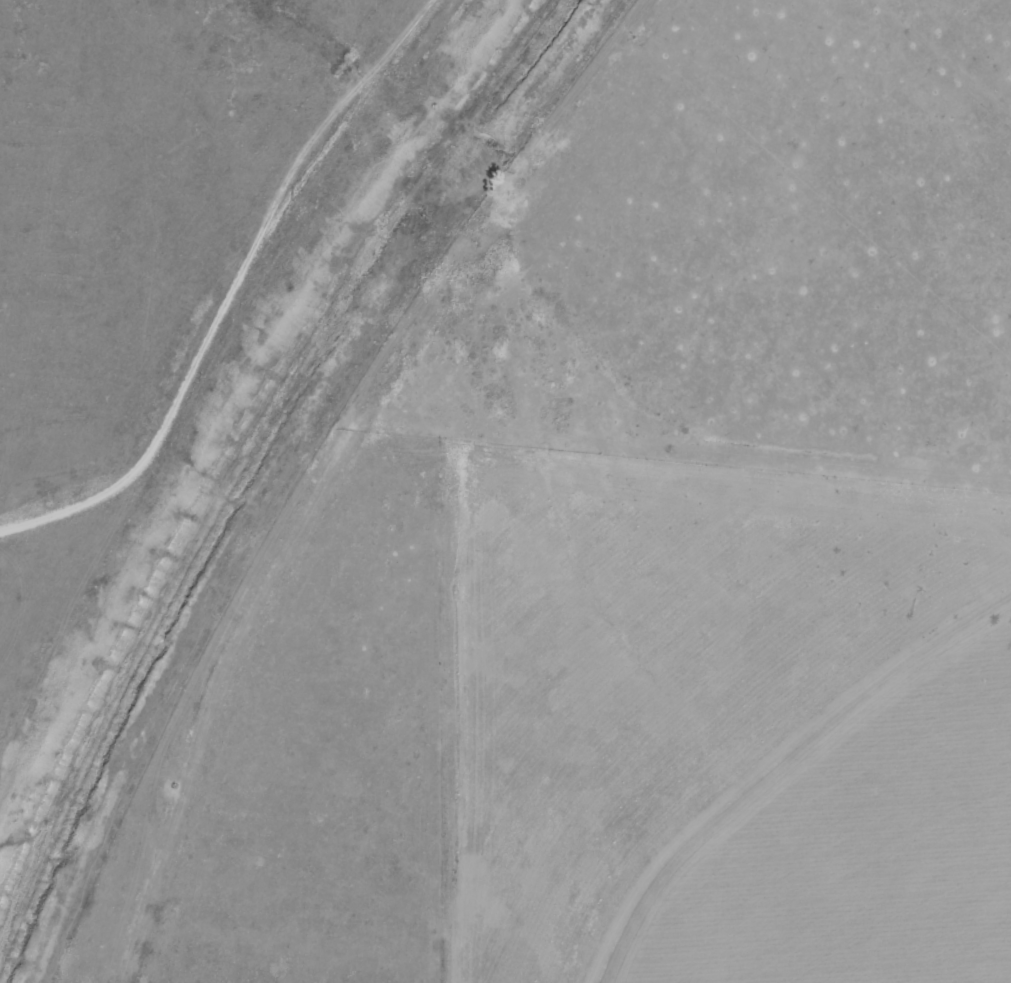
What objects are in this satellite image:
road: (256, 206)

